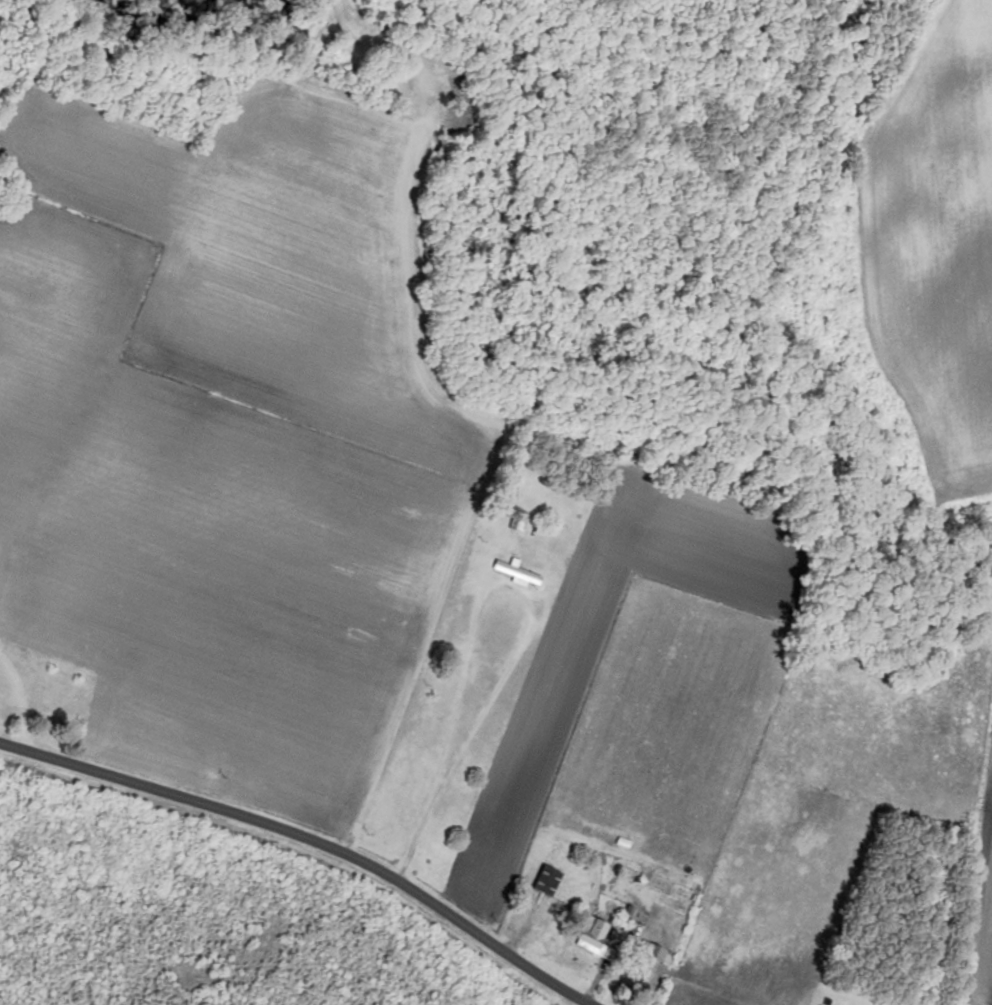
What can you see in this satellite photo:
building: (517, 521)
building: (519, 572)
road: (307, 843)
building: (550, 881)
building: (598, 939)
building: (657, 953)

